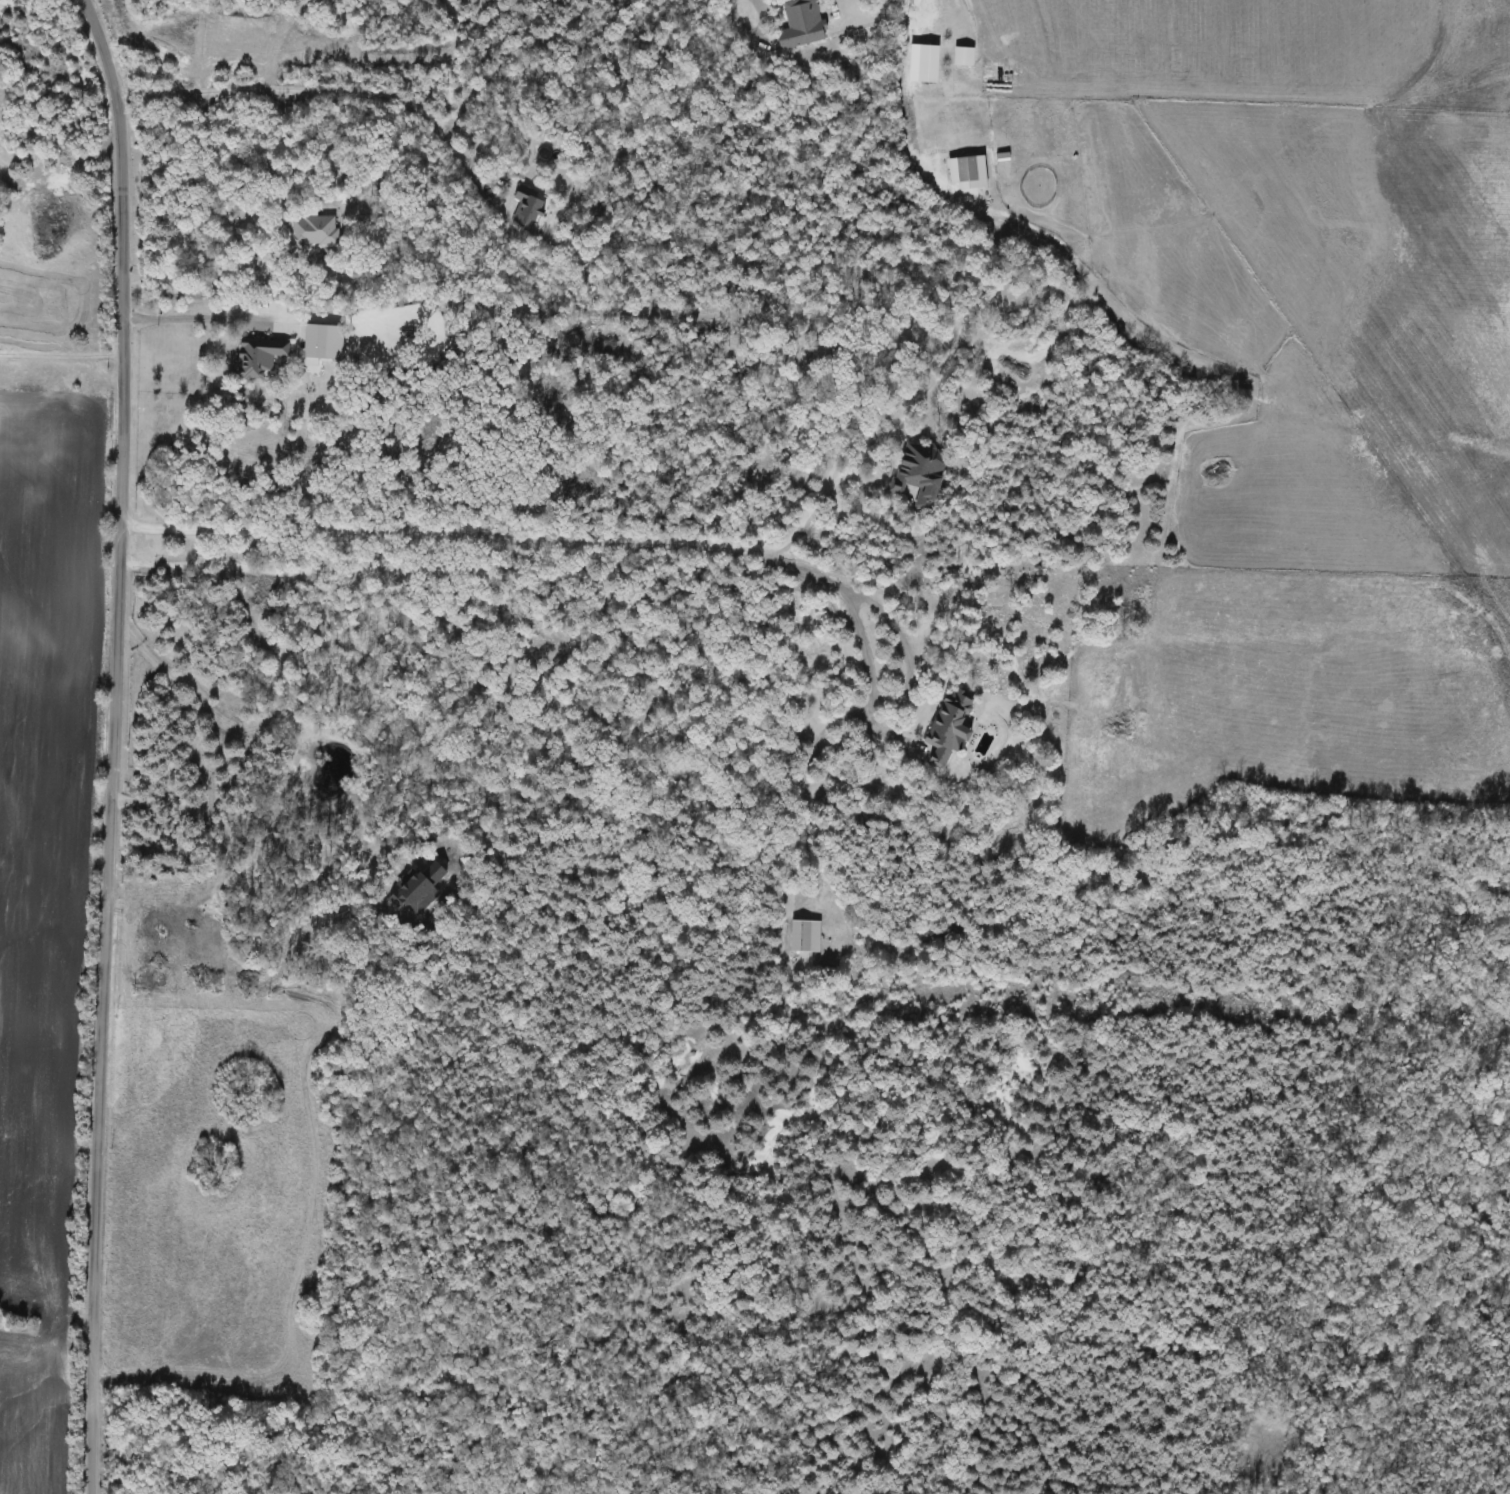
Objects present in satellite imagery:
road: (928, 15)
building: (804, 24)
road: (734, 25)
building: (967, 56)
building: (932, 64)
road: (359, 89)
building: (970, 168)
building: (531, 207)
building: (314, 231)
road: (197, 319)
road: (957, 346)
building: (261, 357)
building: (922, 473)
road: (619, 538)
building: (952, 726)
road: (112, 744)
building: (807, 936)

